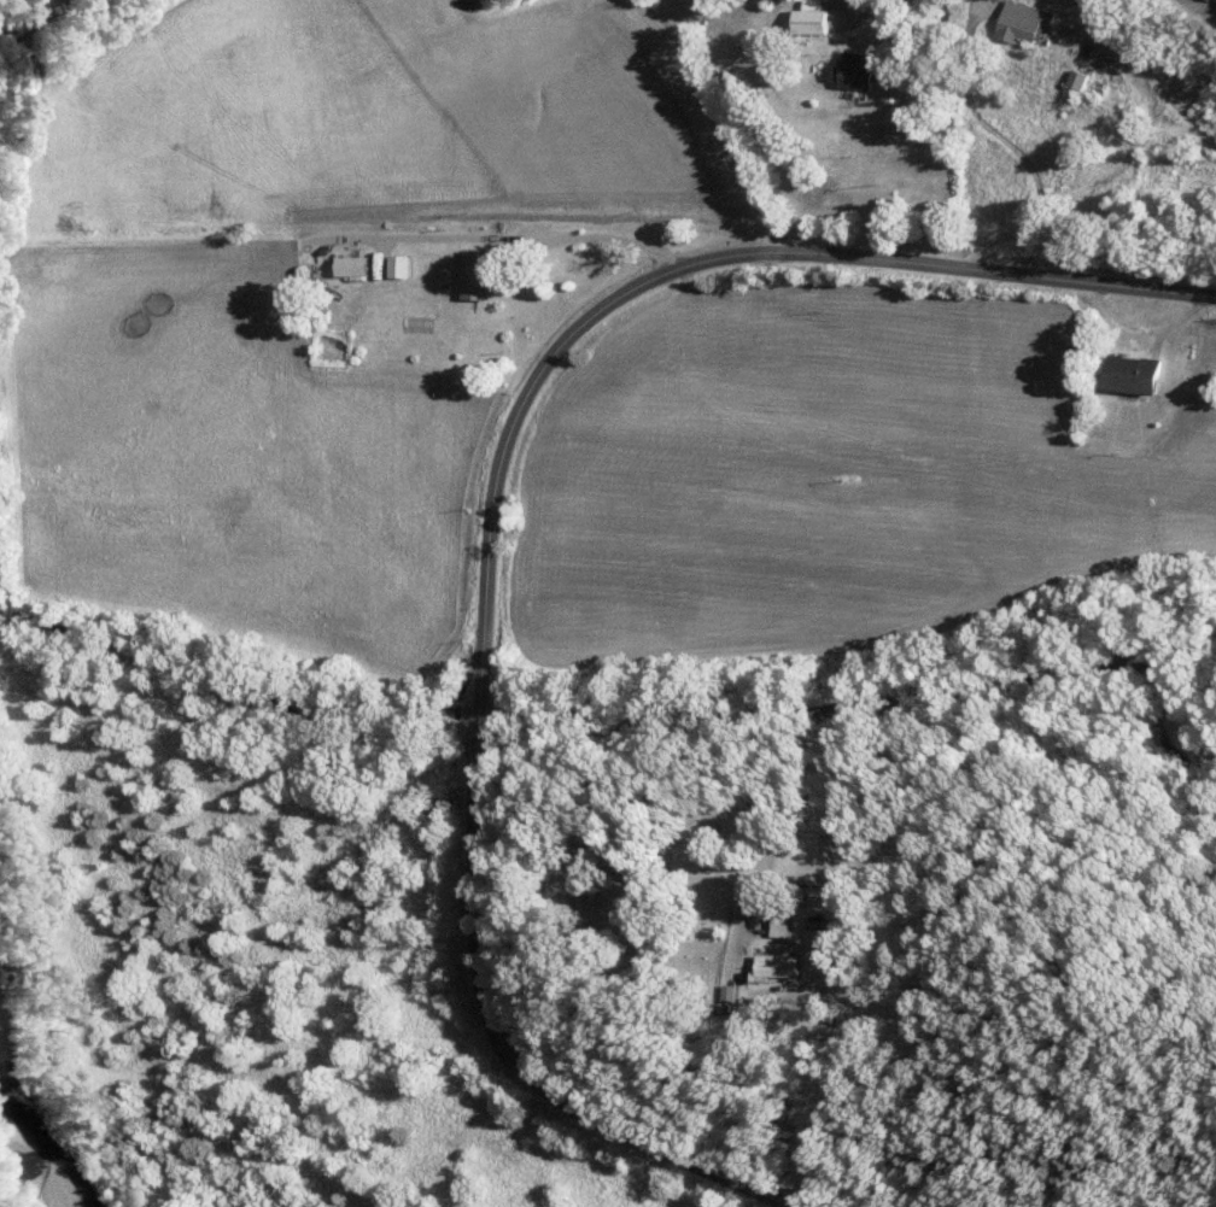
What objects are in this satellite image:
road: (846, 11)
building: (812, 19)
building: (1024, 23)
road: (694, 45)
building: (859, 72)
building: (1080, 81)
road: (721, 117)
building: (478, 275)
building: (1133, 376)
road: (489, 511)
building: (784, 922)
building: (779, 968)
river: (22, 1141)

